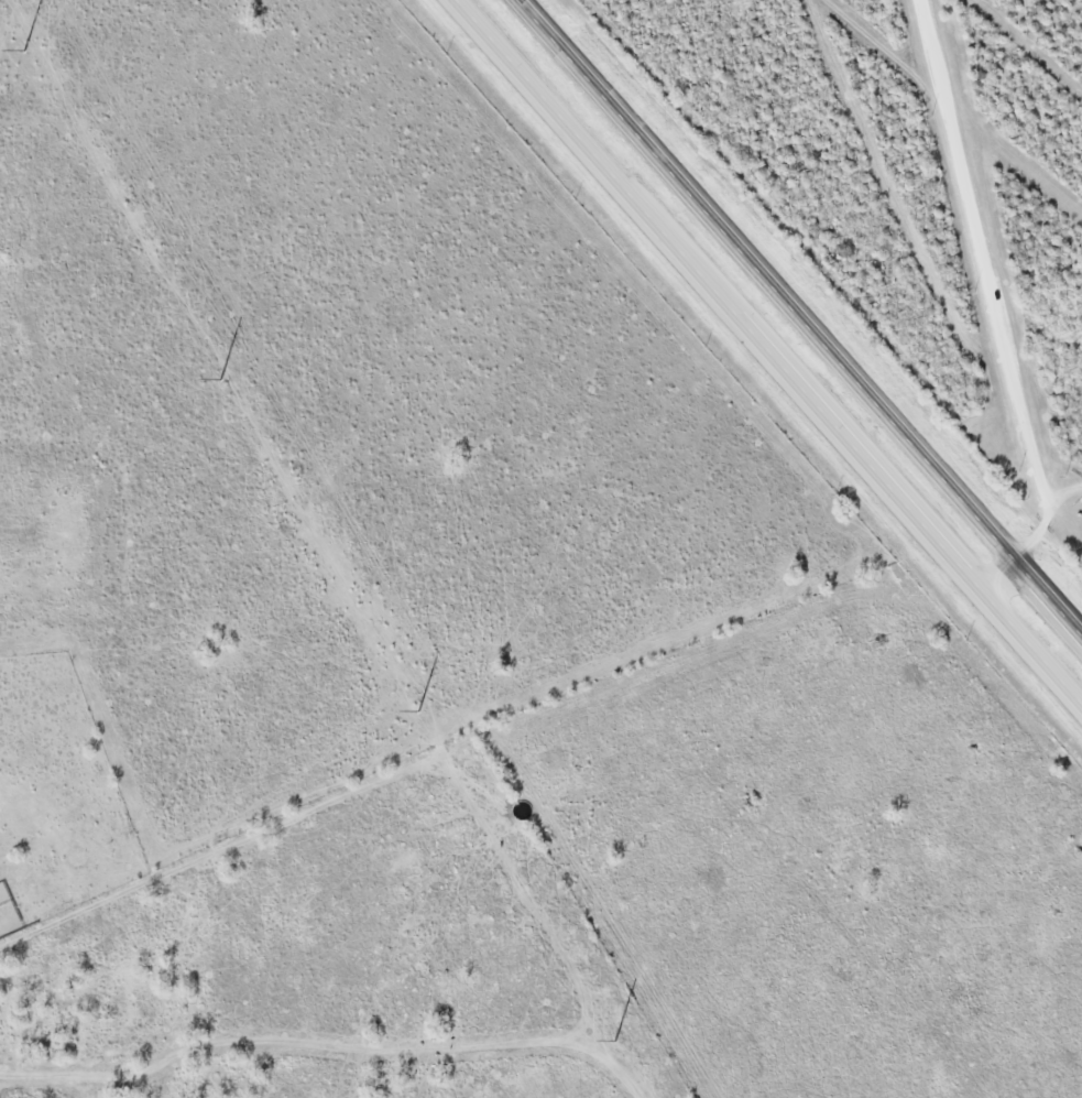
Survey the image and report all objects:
power tower: (24, 52)
road: (805, 312)
road: (767, 354)
power tower: (221, 380)
building: (18, 526)
power tower: (418, 713)
power tower: (614, 1043)

